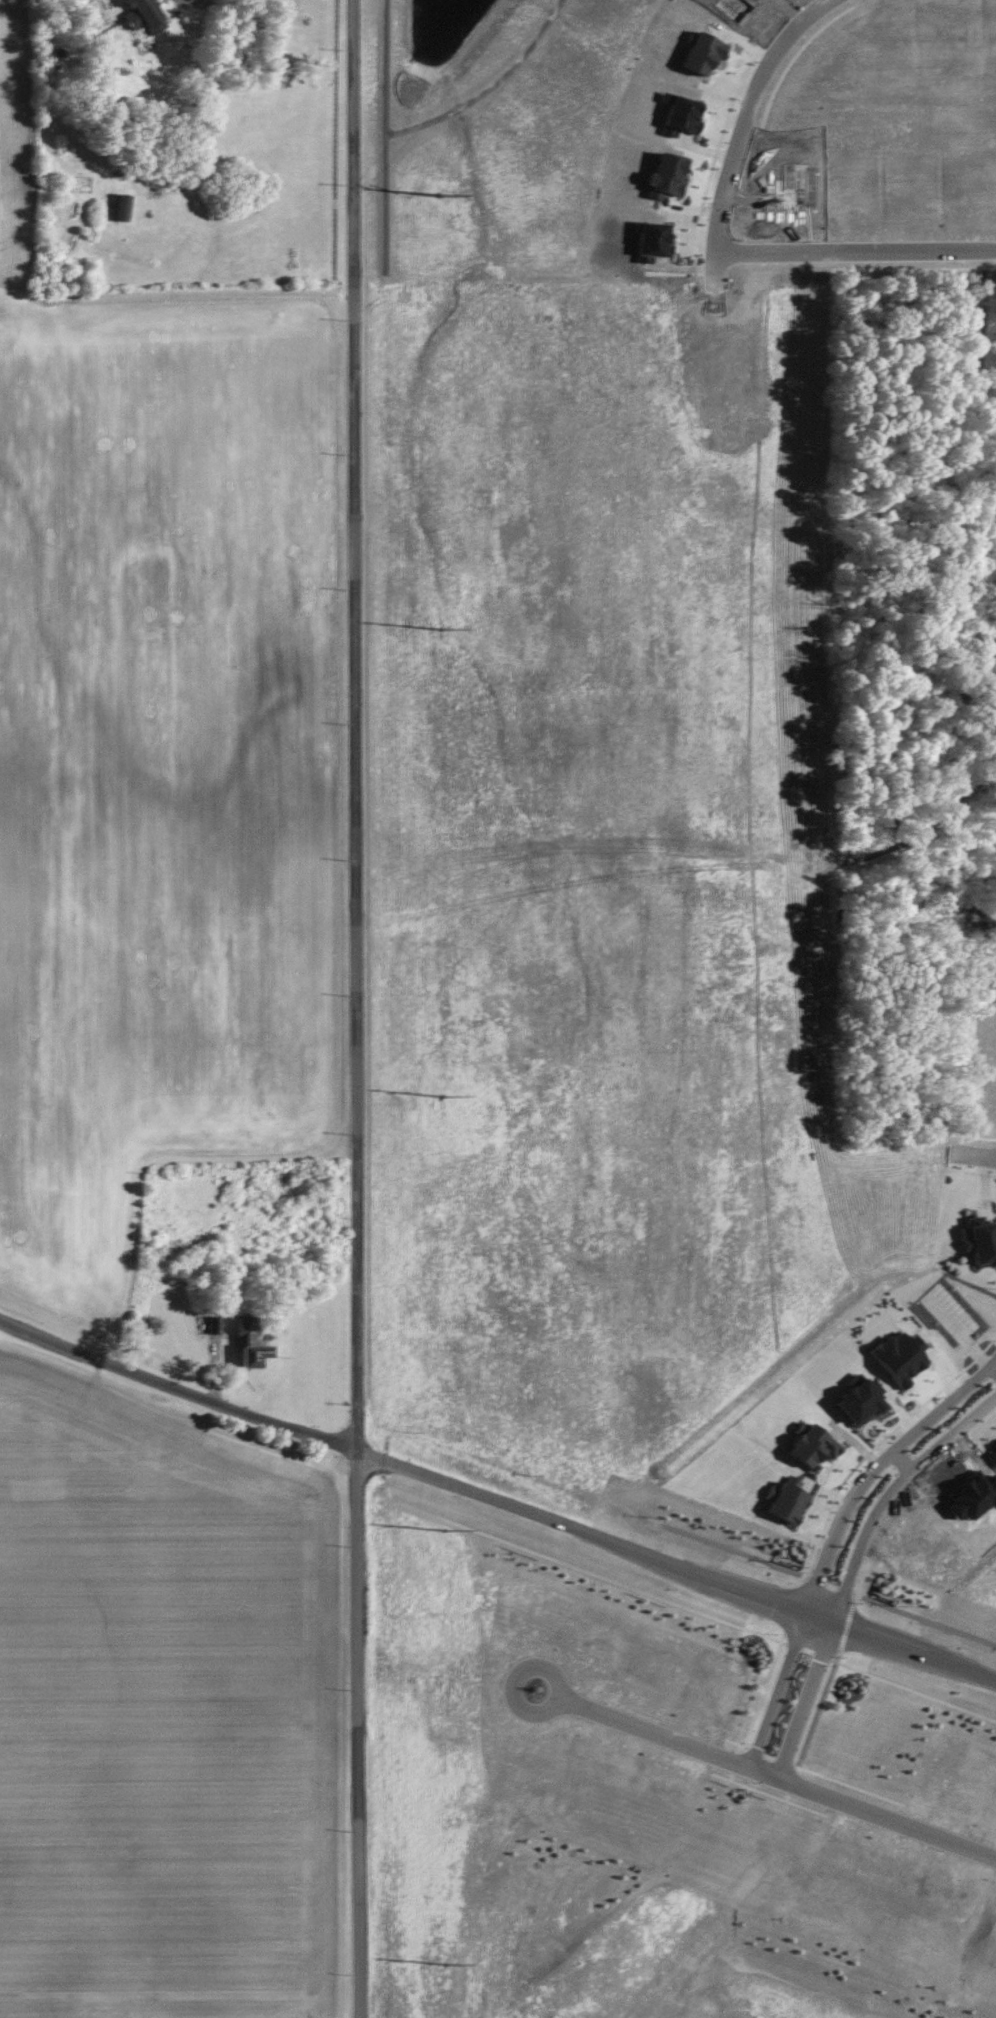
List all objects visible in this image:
road: (192, 0)
building: (143, 15)
power tower: (442, 195)
building: (120, 207)
road: (857, 253)
road: (544, 405)
power tower: (441, 628)
road: (745, 639)
road: (360, 1008)
road: (390, 1009)
road: (558, 1016)
power tower: (444, 1095)
road: (739, 1217)
building: (979, 1240)
road: (600, 1307)
building: (214, 1324)
building: (249, 1344)
building: (898, 1357)
road: (994, 1369)
road: (180, 1384)
building: (858, 1400)
road: (903, 1464)
road: (875, 1473)
road: (889, 1496)
power tower: (446, 1529)
road: (694, 1538)
road: (677, 1570)
road: (694, 1611)
road: (779, 1693)
road: (561, 1697)
road: (805, 1702)
road: (662, 1735)
road: (879, 1813)
power tower: (448, 1964)

